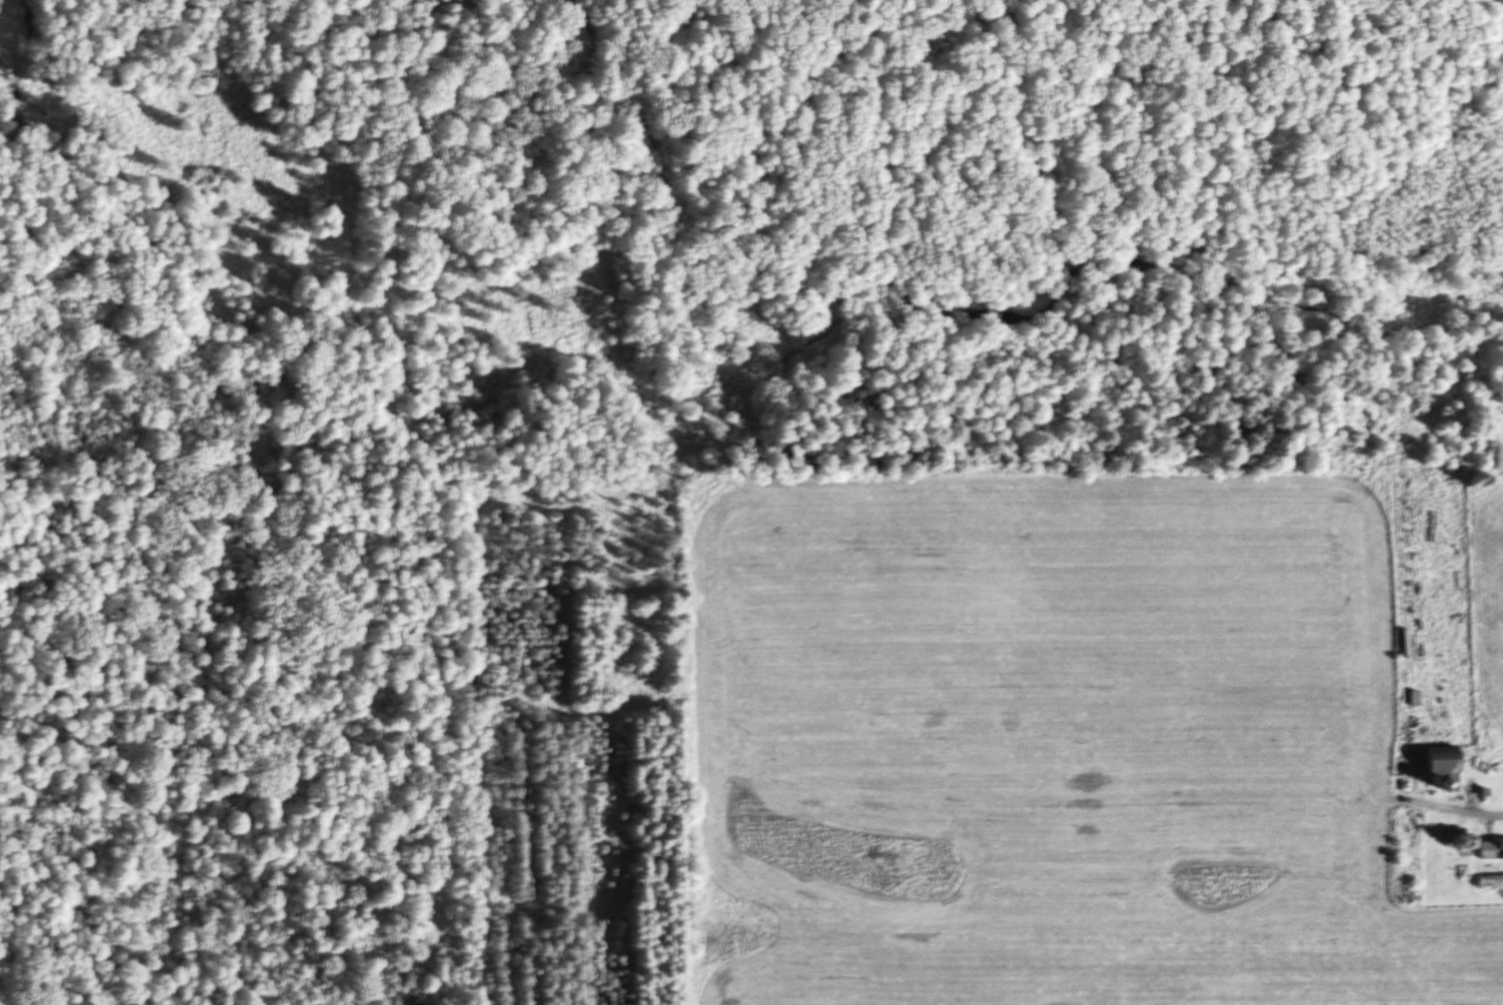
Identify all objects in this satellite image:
building: (1434, 760)
building: (1488, 848)
building: (1493, 880)

